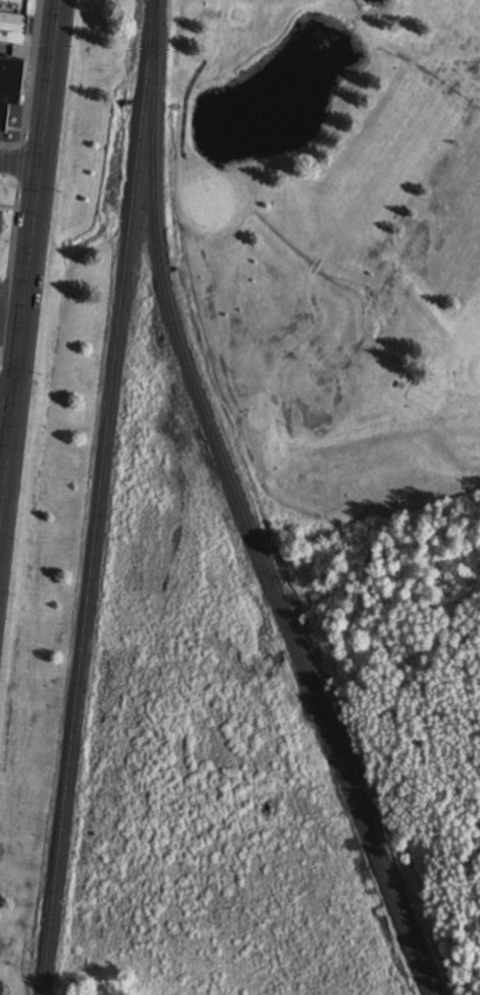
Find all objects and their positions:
building: (12, 29)
building: (9, 88)
road: (20, 163)
park: (209, 207)
building: (0, 212)
road: (30, 259)
park: (341, 296)
park: (474, 372)
road: (7, 396)
railway: (97, 497)
railway: (241, 508)
park: (429, 787)

